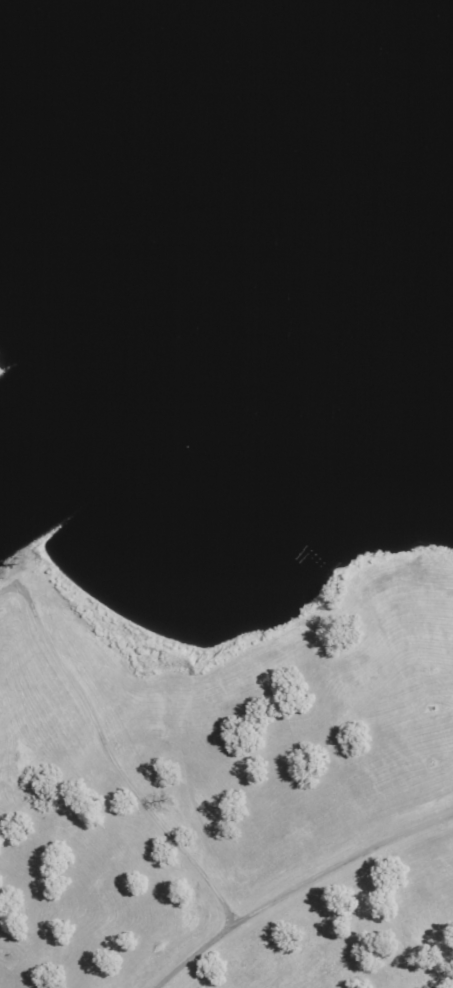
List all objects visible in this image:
road: (292, 888)

